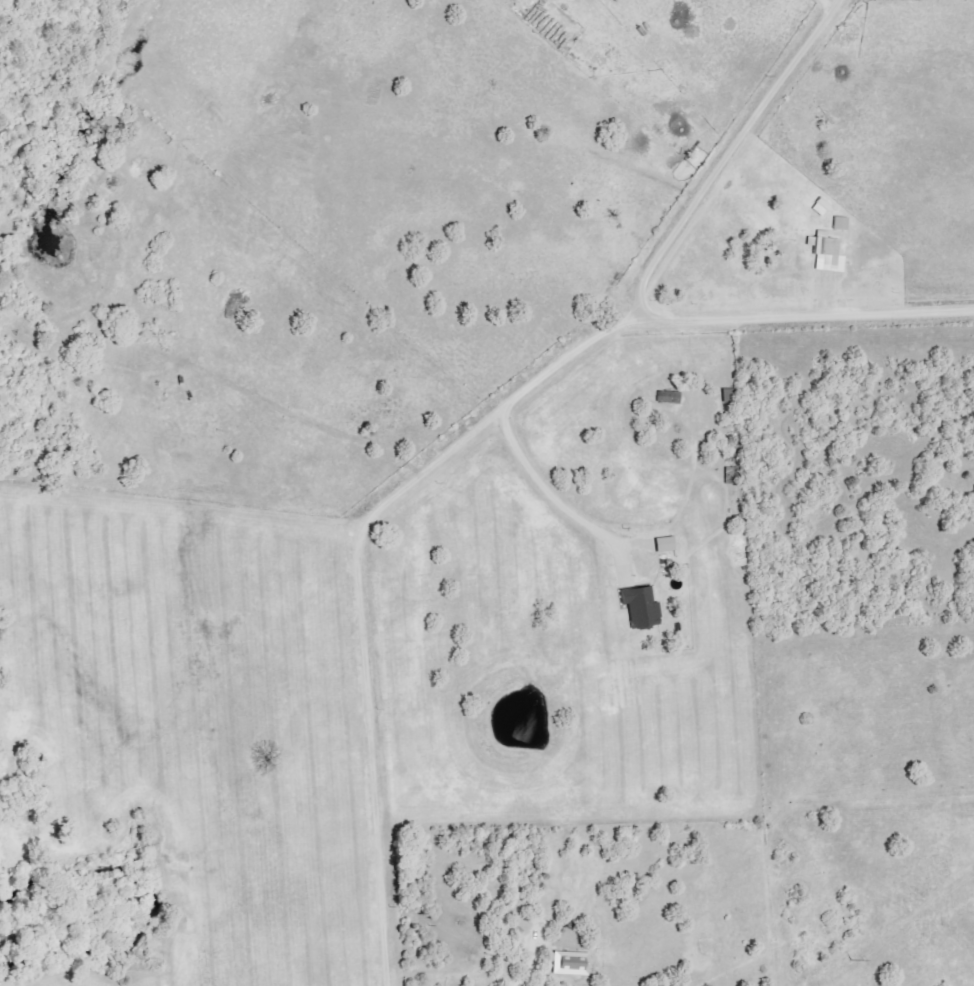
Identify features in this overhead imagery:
road: (729, 151)
building: (820, 207)
building: (839, 223)
building: (826, 252)
building: (667, 397)
road: (449, 451)
building: (664, 545)
building: (640, 607)
power tower: (849, 960)
building: (570, 964)

